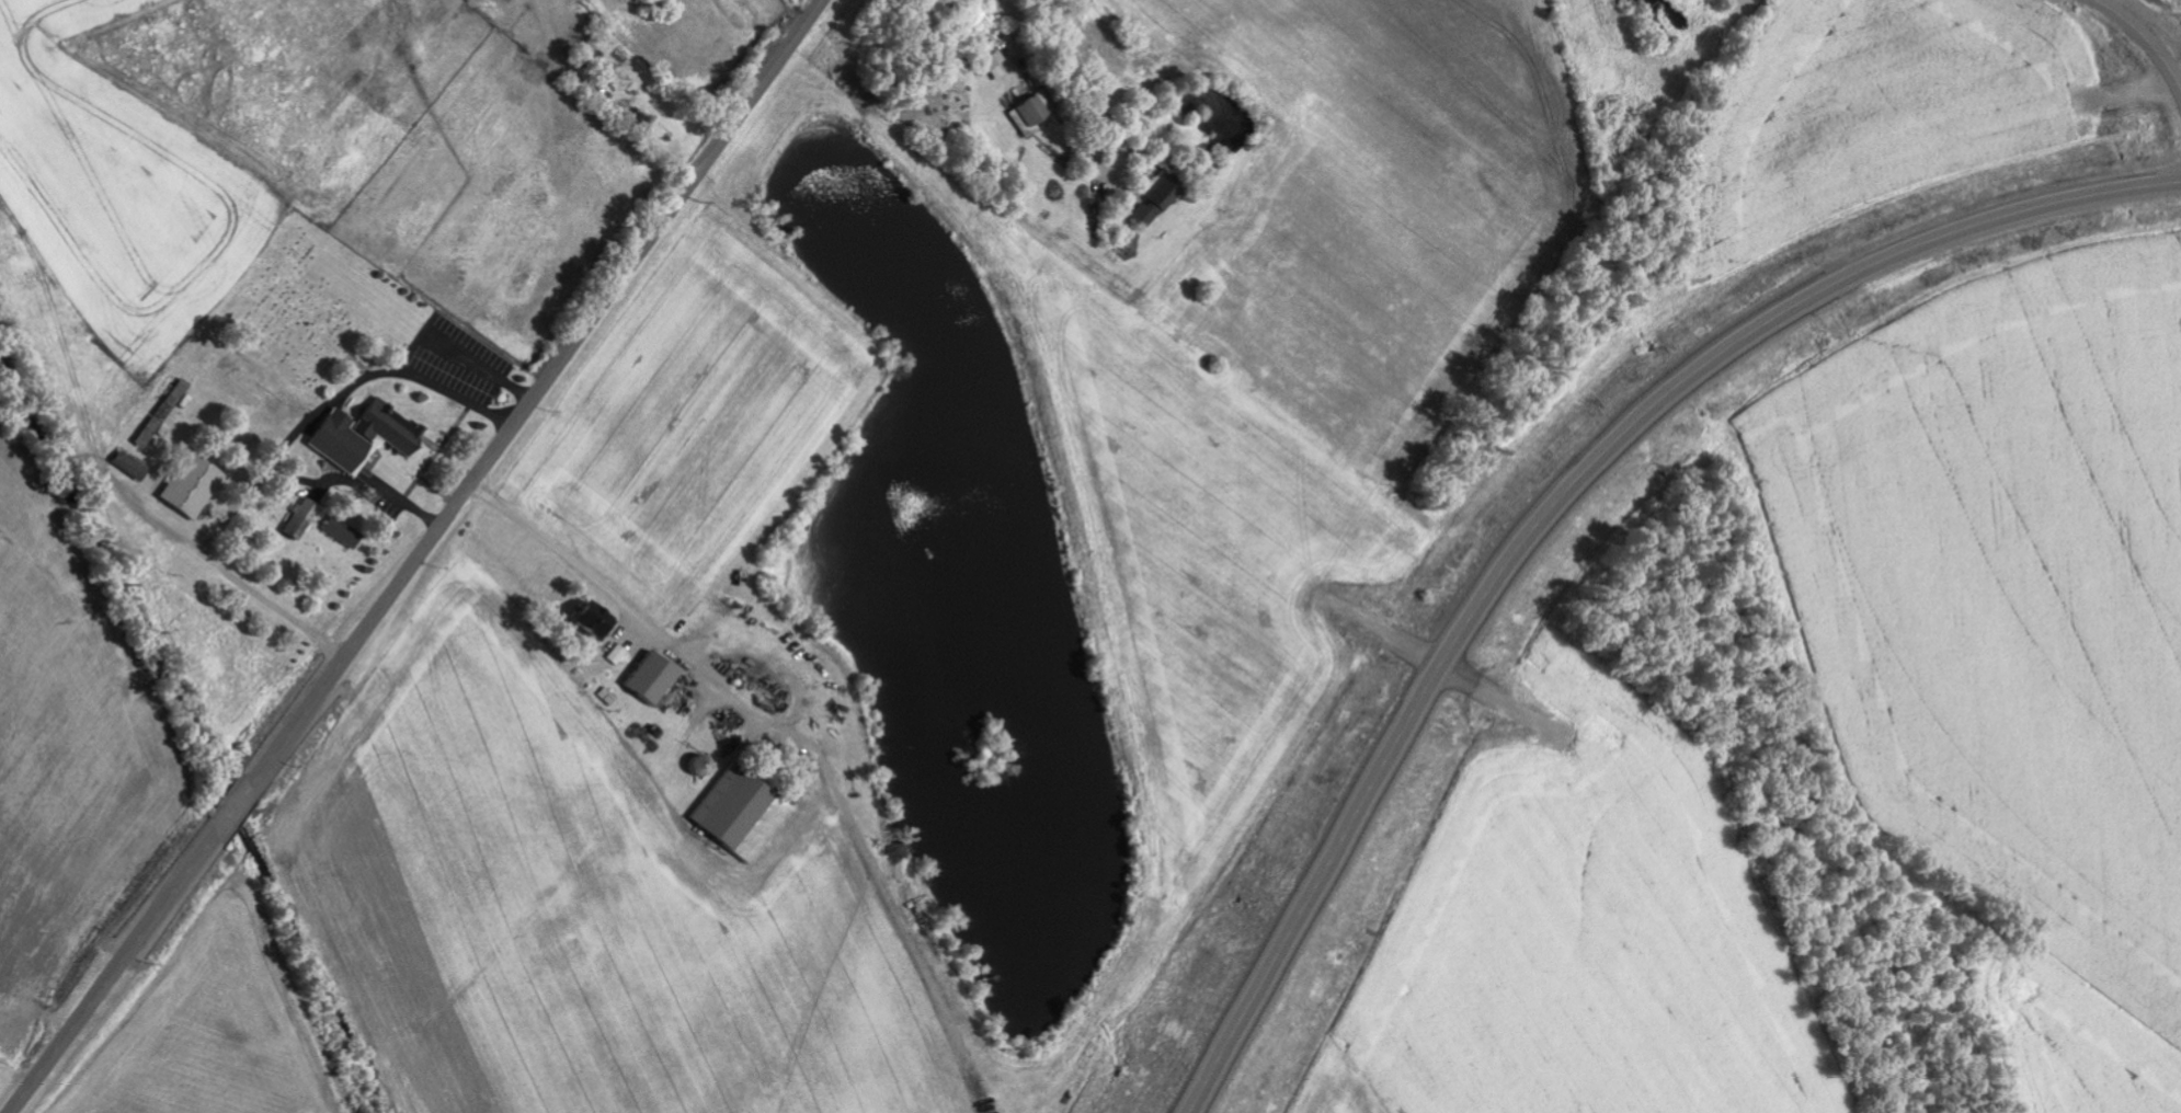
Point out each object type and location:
road: (2140, 41)
building: (997, 60)
road: (1090, 61)
road: (603, 97)
building: (1032, 108)
building: (1163, 193)
building: (1140, 217)
park: (306, 306)
road: (536, 393)
building: (165, 413)
building: (392, 427)
building: (343, 441)
building: (134, 466)
building: (196, 486)
road: (1558, 502)
building: (304, 518)
building: (346, 532)
road: (237, 580)
building: (597, 620)
road: (643, 628)
building: (619, 655)
road: (1439, 673)
building: (655, 678)
road: (235, 812)
building: (744, 813)
road: (112, 974)

